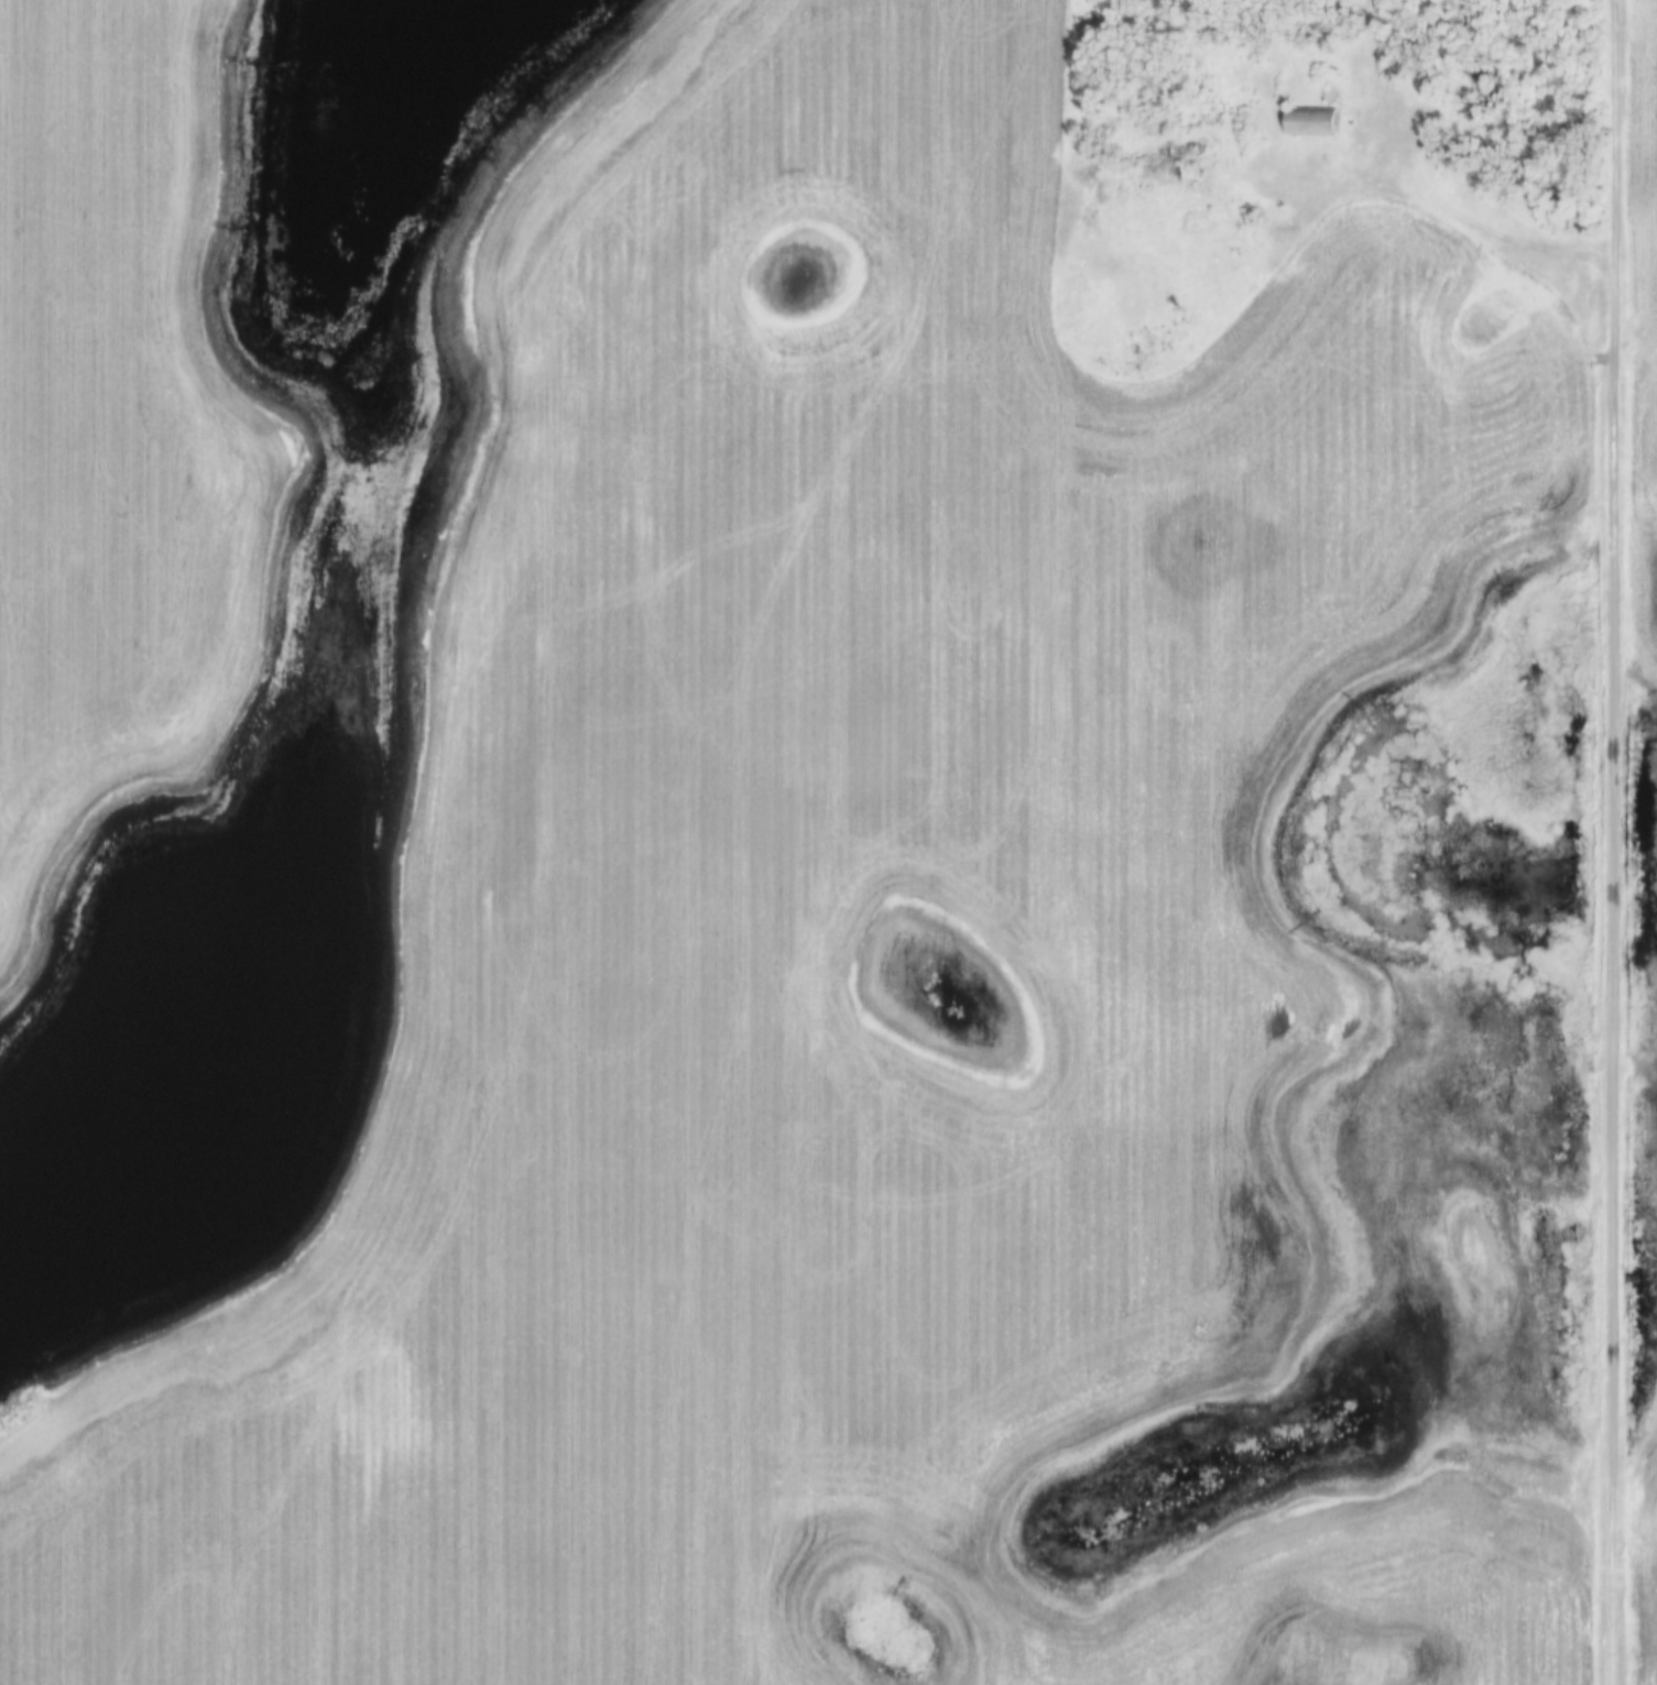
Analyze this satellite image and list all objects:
building: (1310, 121)
road: (1615, 141)
road: (1474, 222)
road: (1611, 983)

